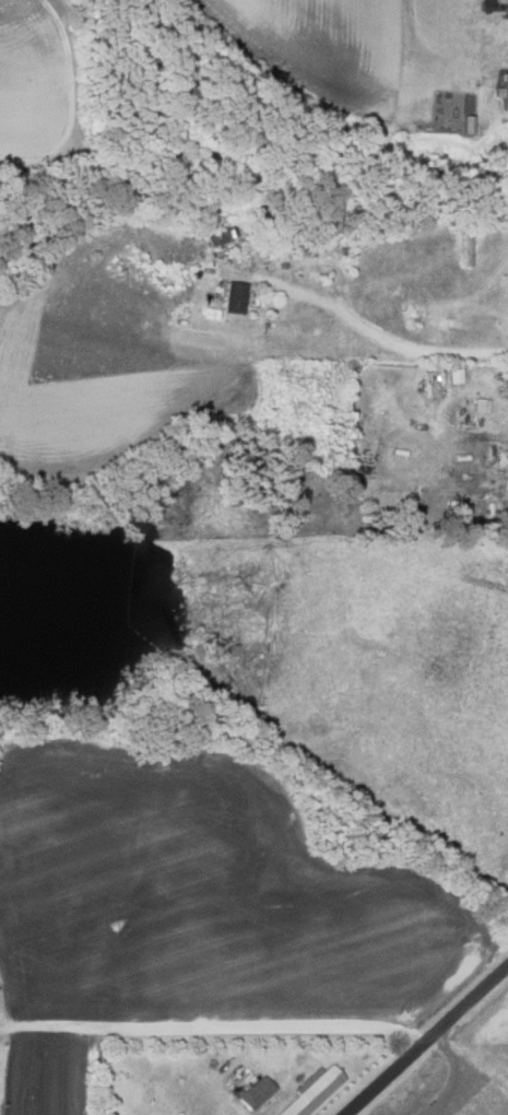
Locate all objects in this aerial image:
building: (507, 7)
building: (504, 91)
building: (465, 124)
building: (234, 297)
road: (401, 345)
building: (481, 404)
building: (461, 469)
road: (214, 1032)
road: (425, 1040)
road: (456, 1076)
park: (450, 1079)
building: (257, 1092)
building: (314, 1093)

